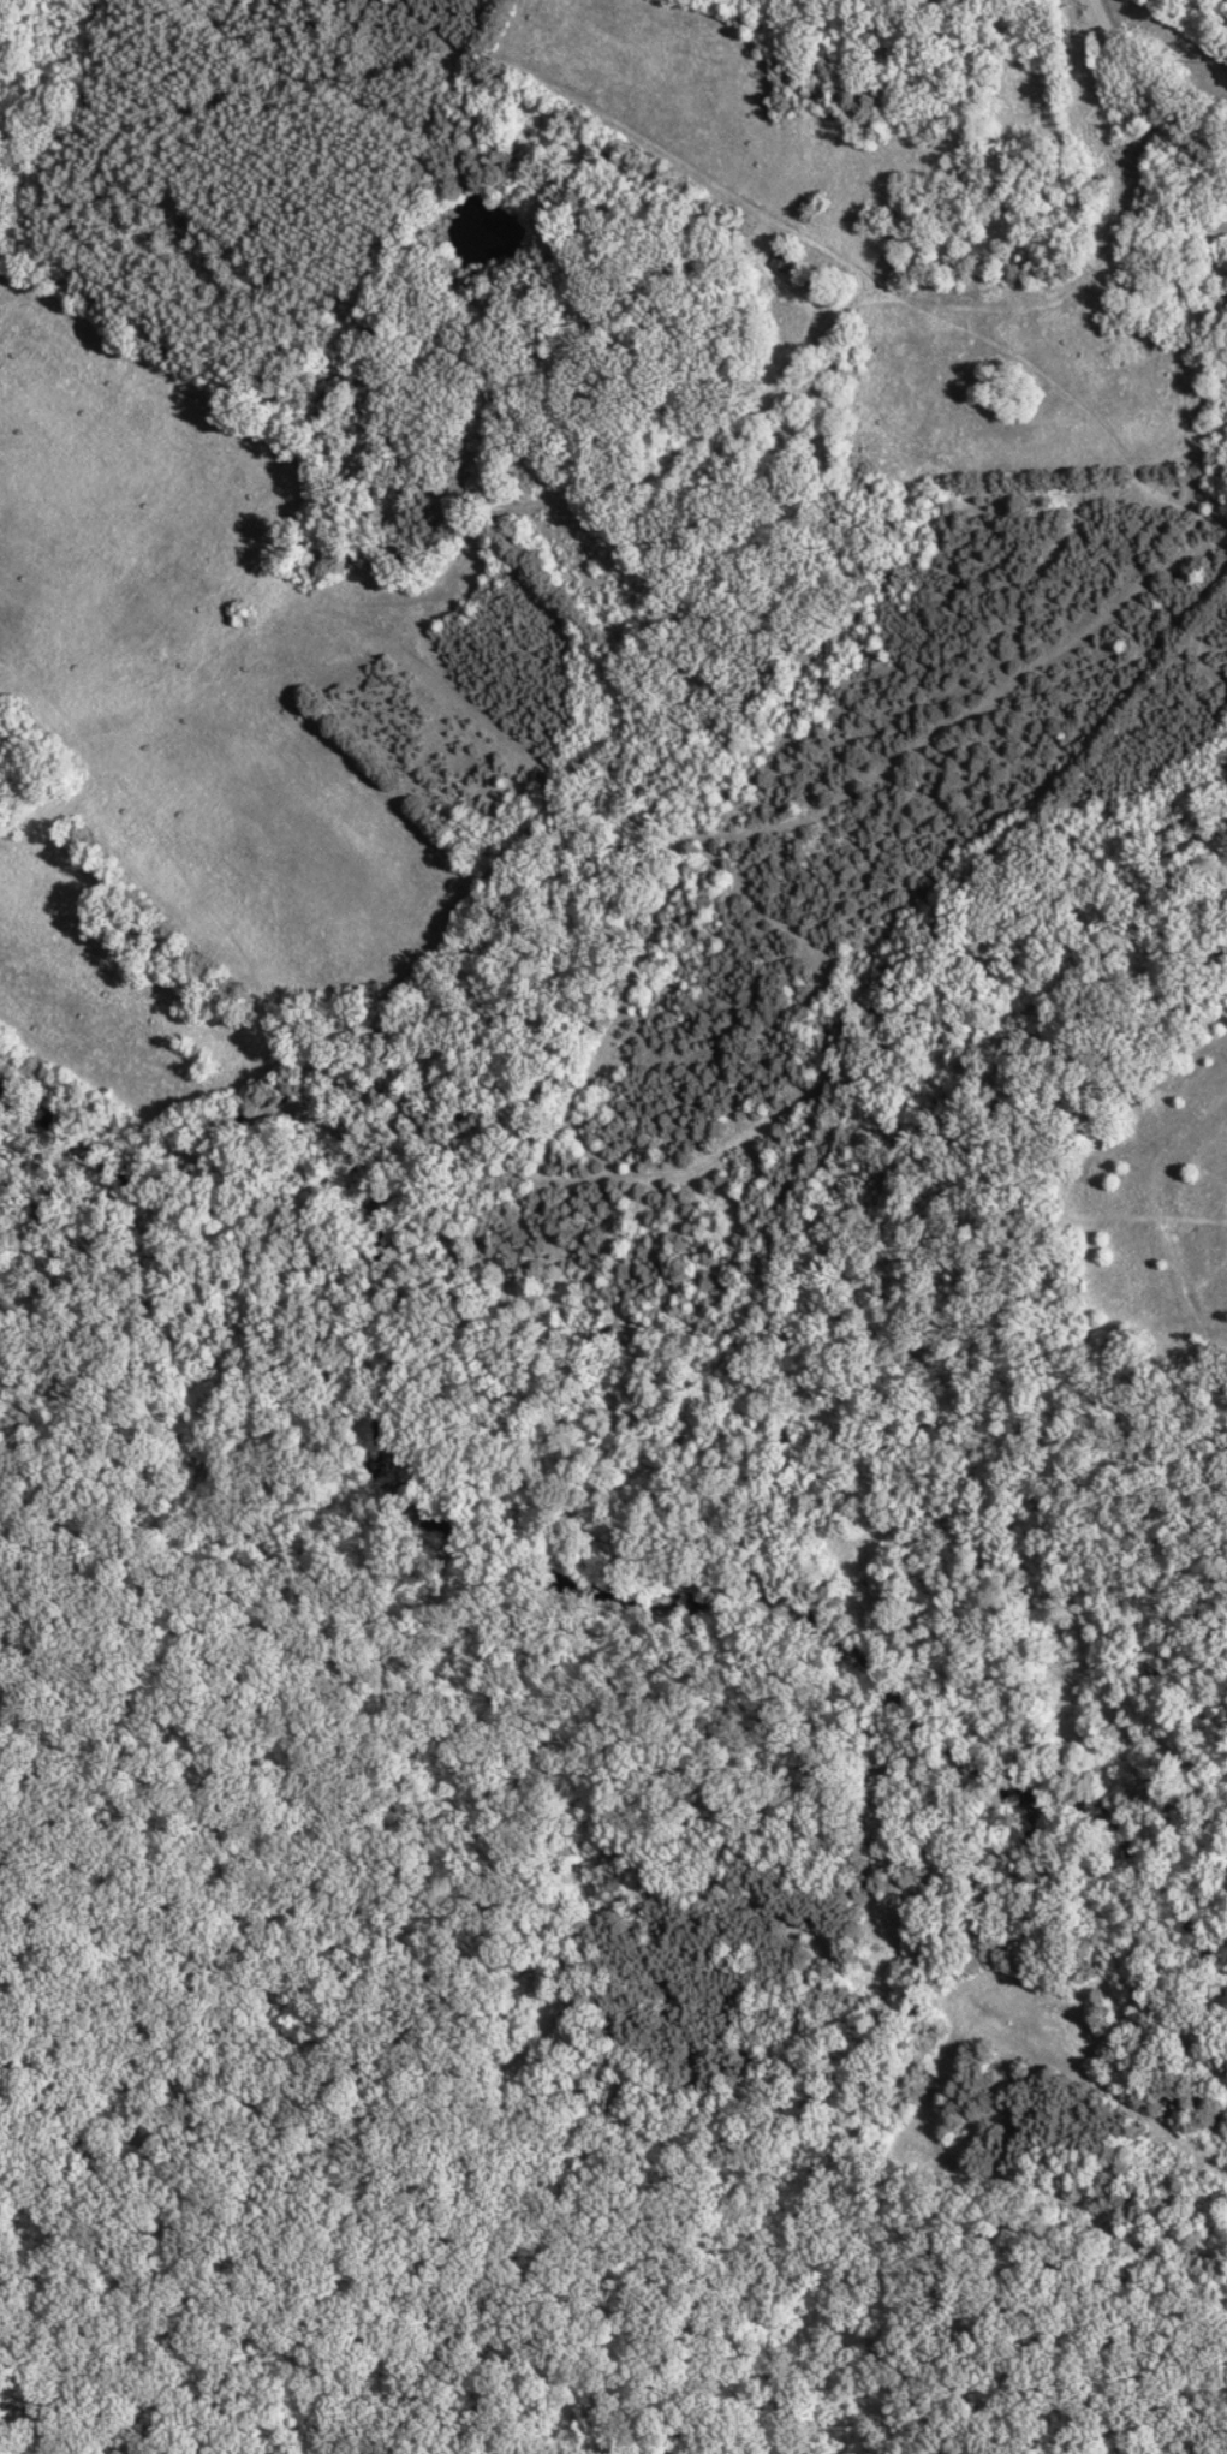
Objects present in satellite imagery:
road: (1148, 78)
building: (780, 262)

